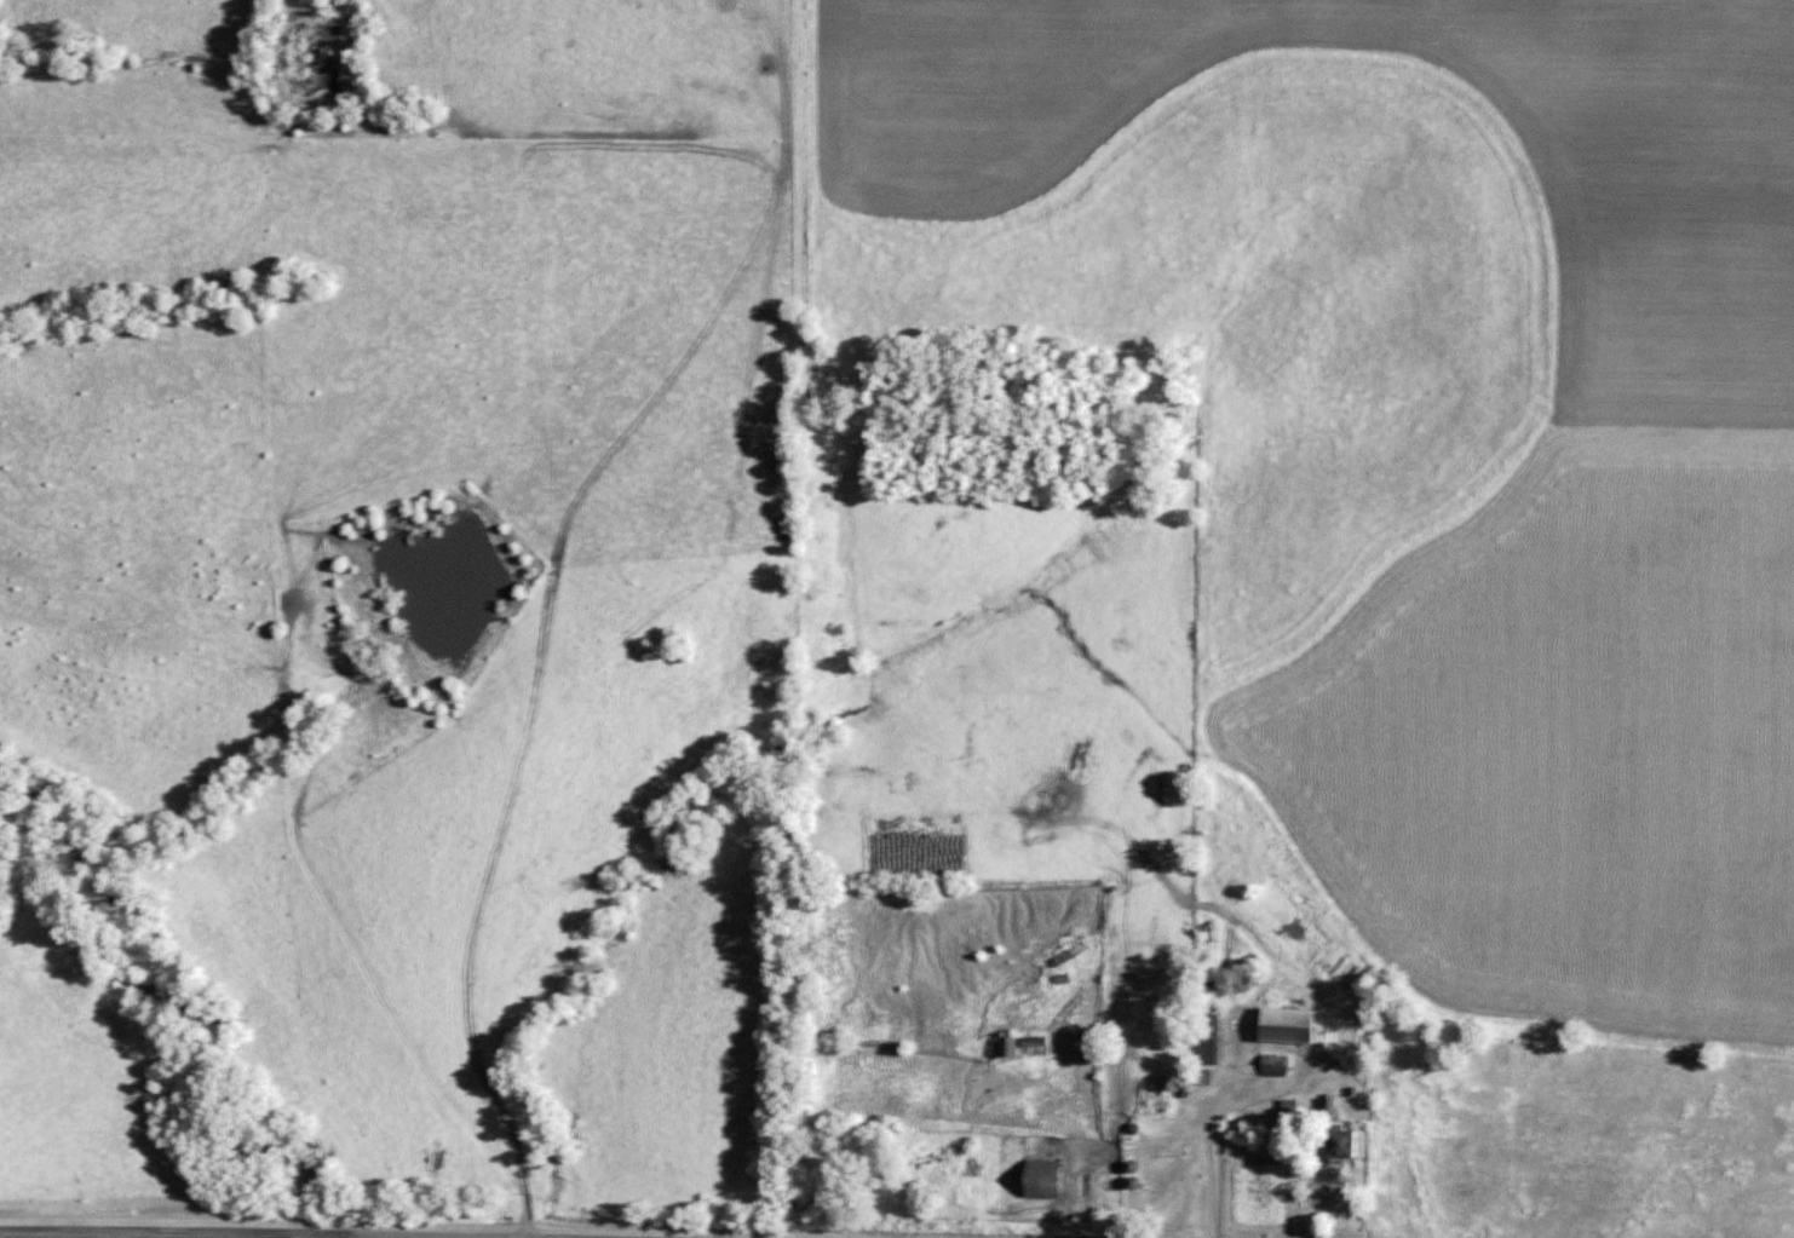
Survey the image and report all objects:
building: (1283, 1024)
building: (1037, 1180)
road: (252, 1234)

